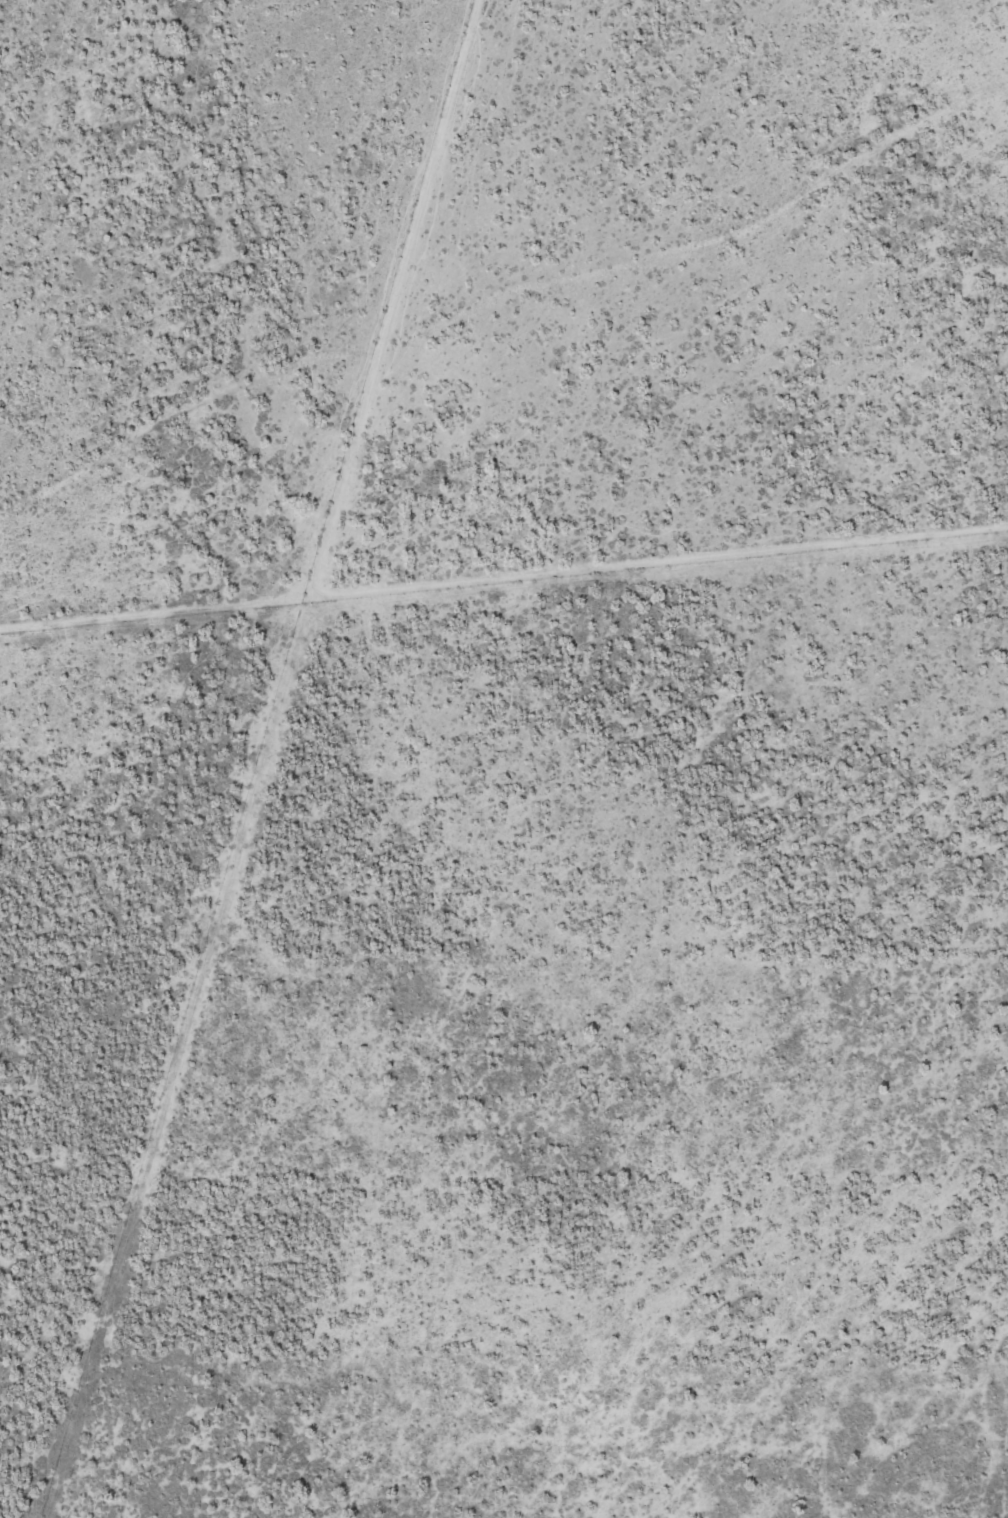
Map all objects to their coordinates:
road: (500, 317)

